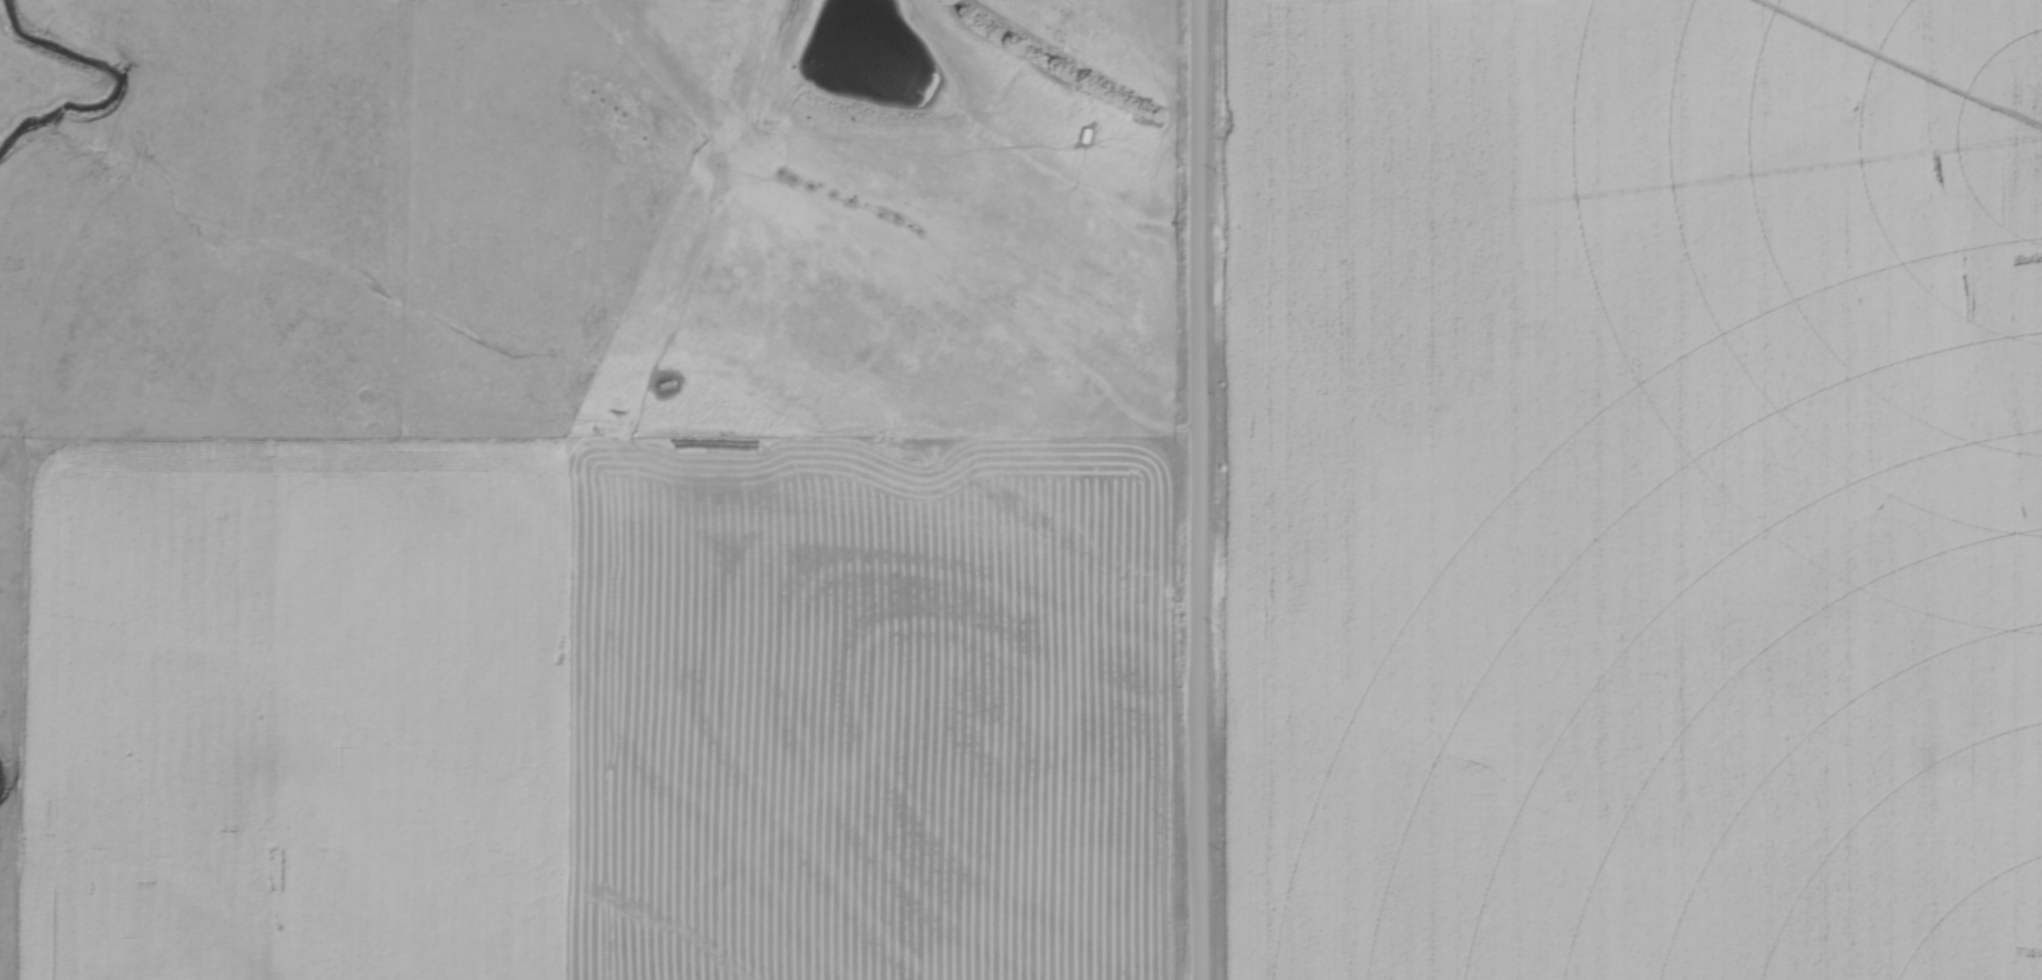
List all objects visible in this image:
river: (114, 81)
road: (1200, 490)

